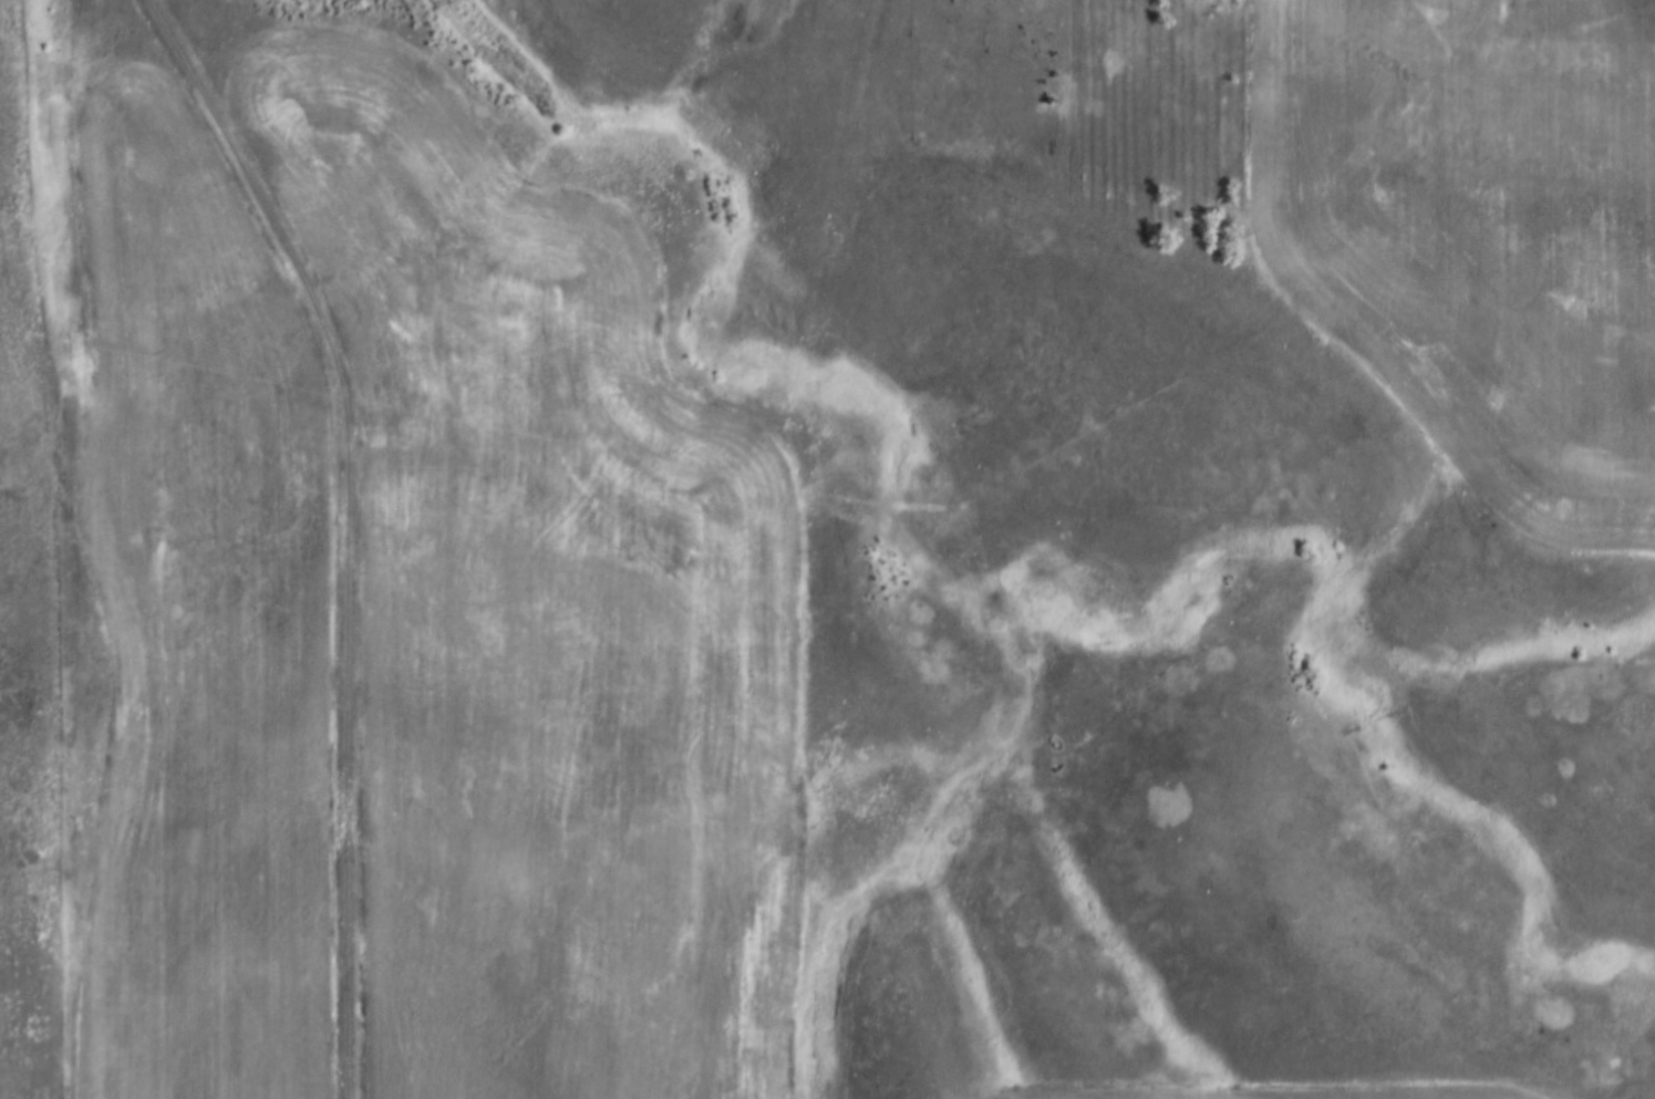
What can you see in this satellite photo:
road: (343, 525)

